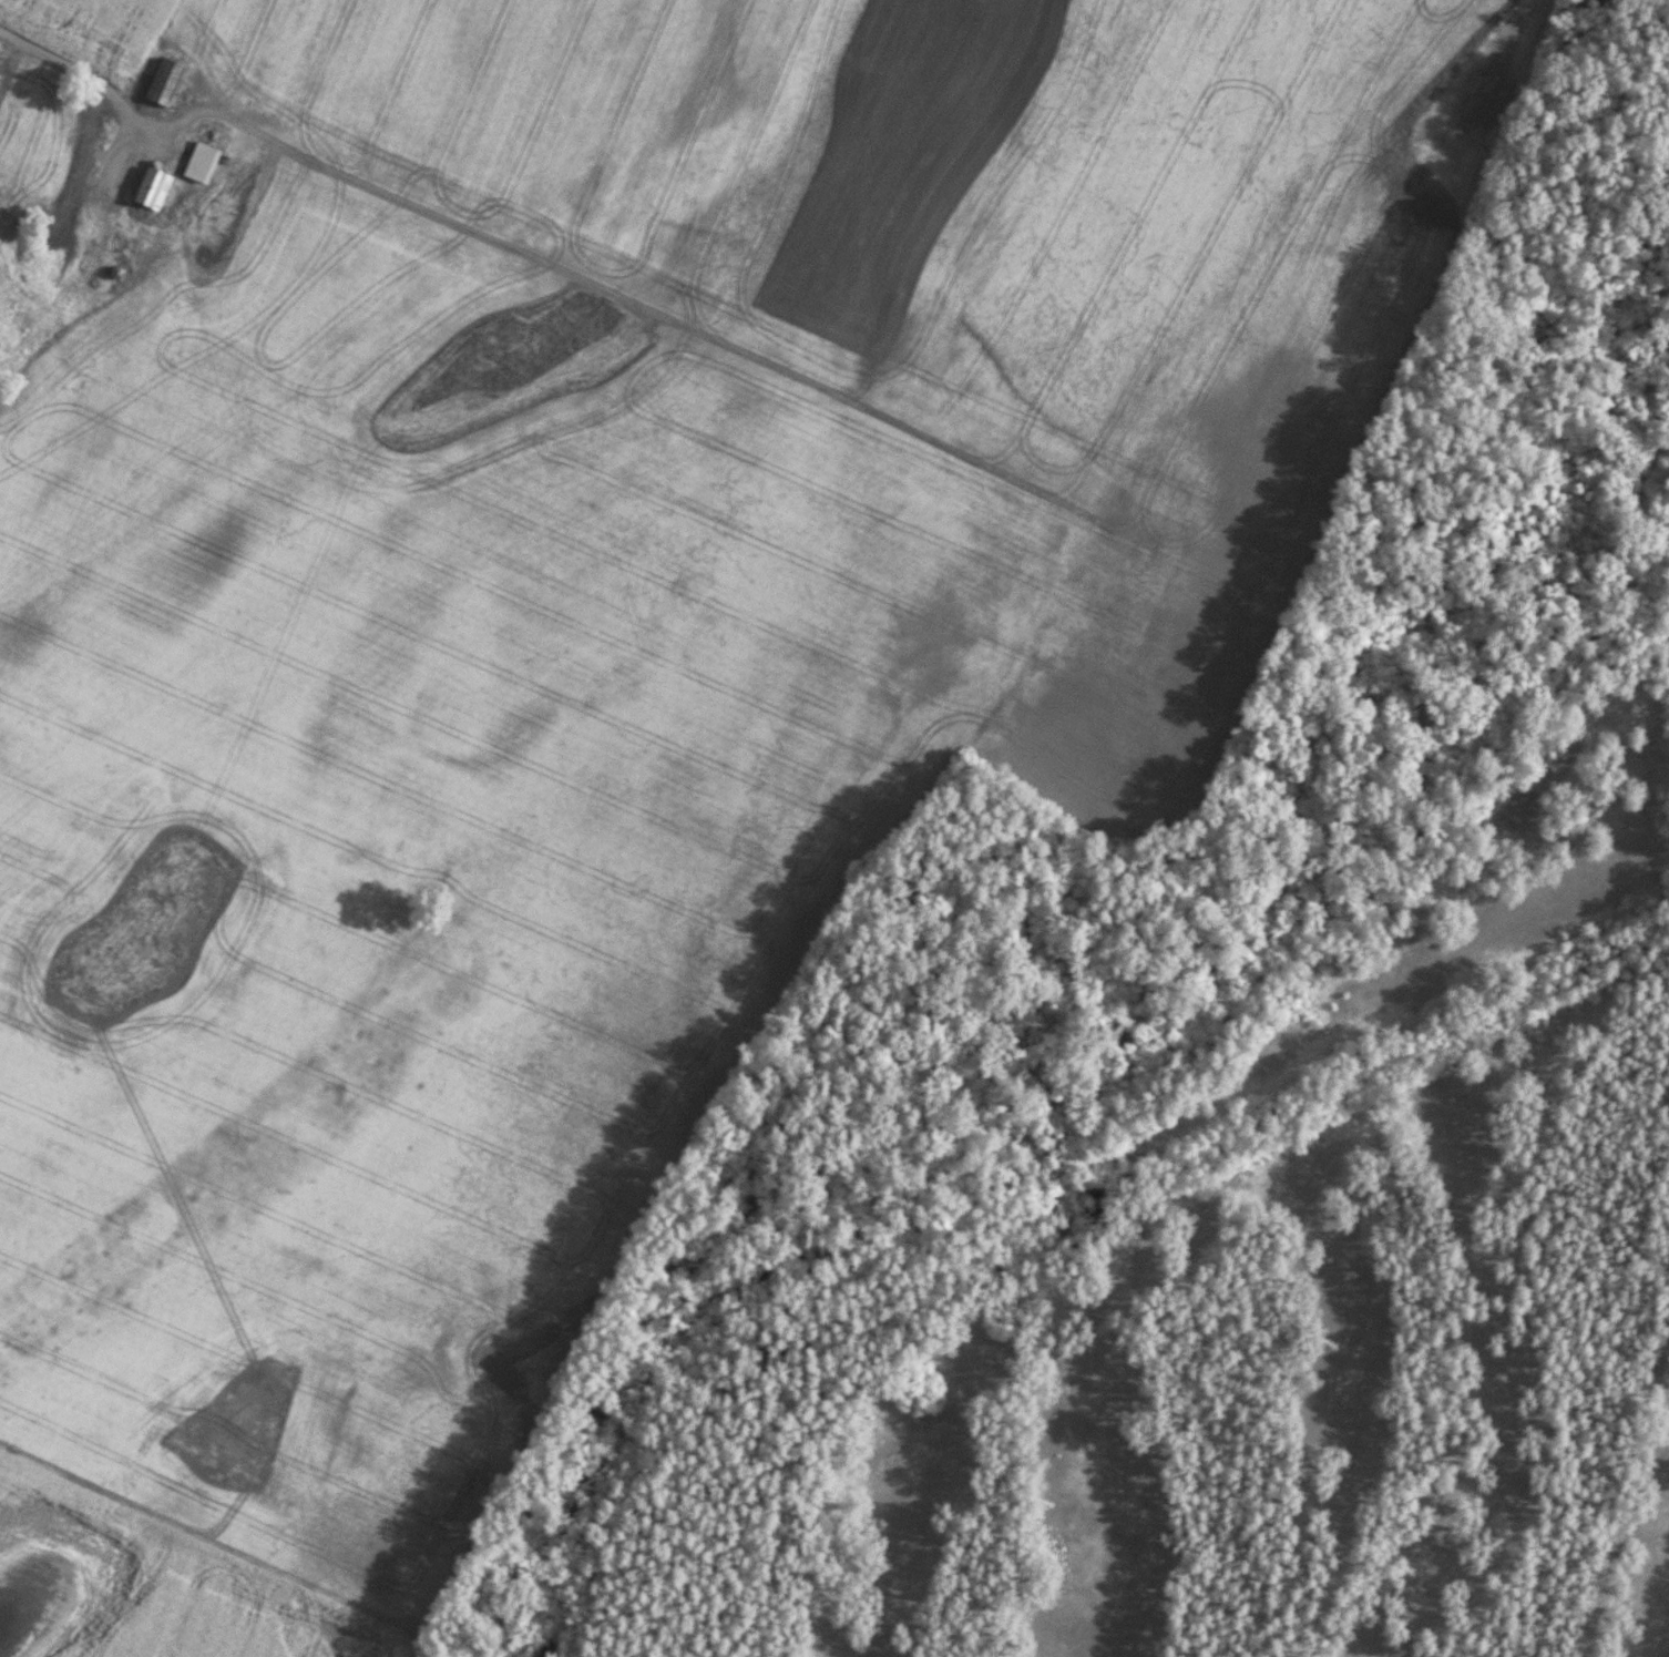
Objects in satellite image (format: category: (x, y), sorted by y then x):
road: (71, 68)
building: (166, 82)
building: (203, 162)
building: (153, 187)

